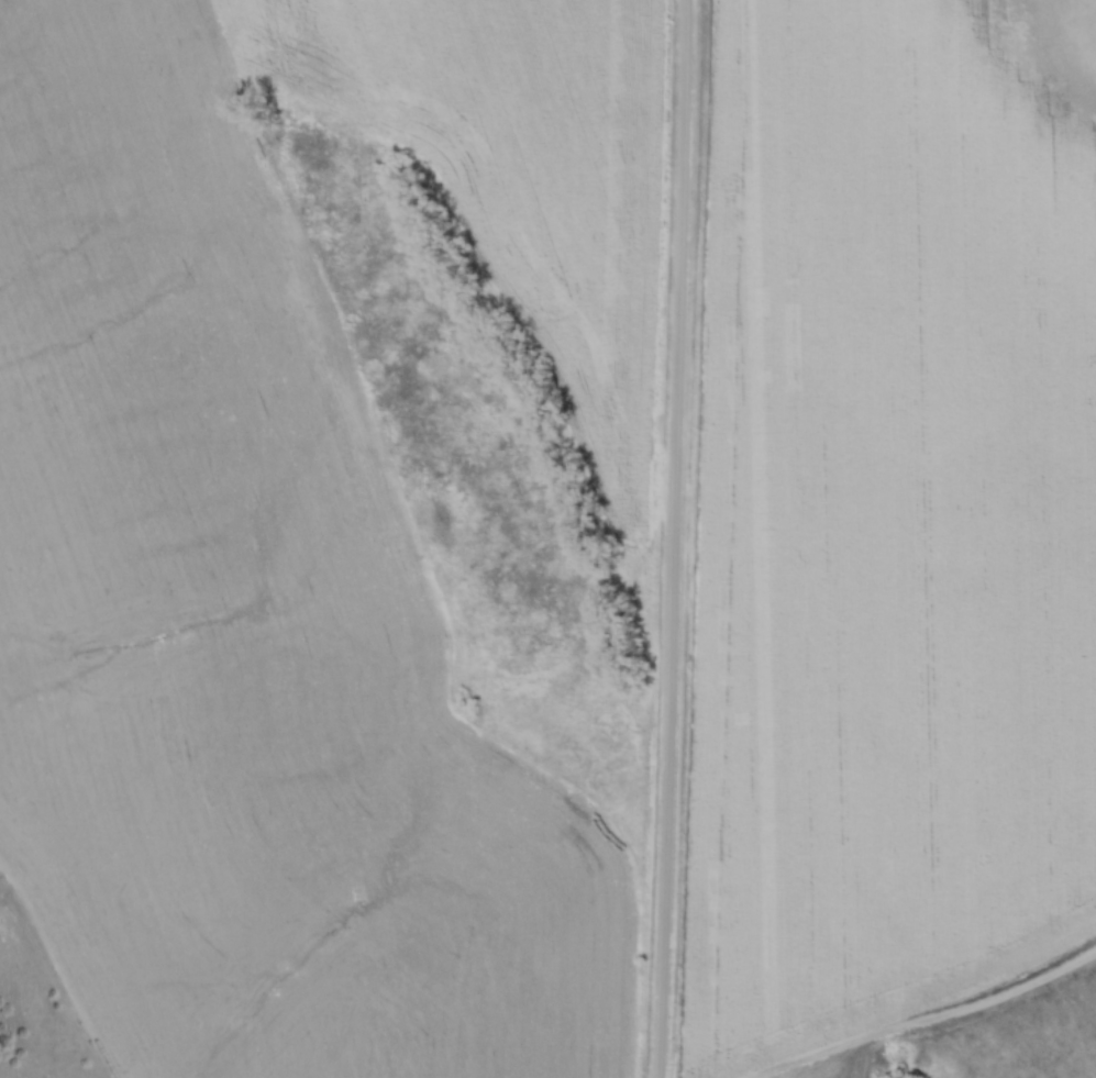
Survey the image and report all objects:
road: (673, 538)

